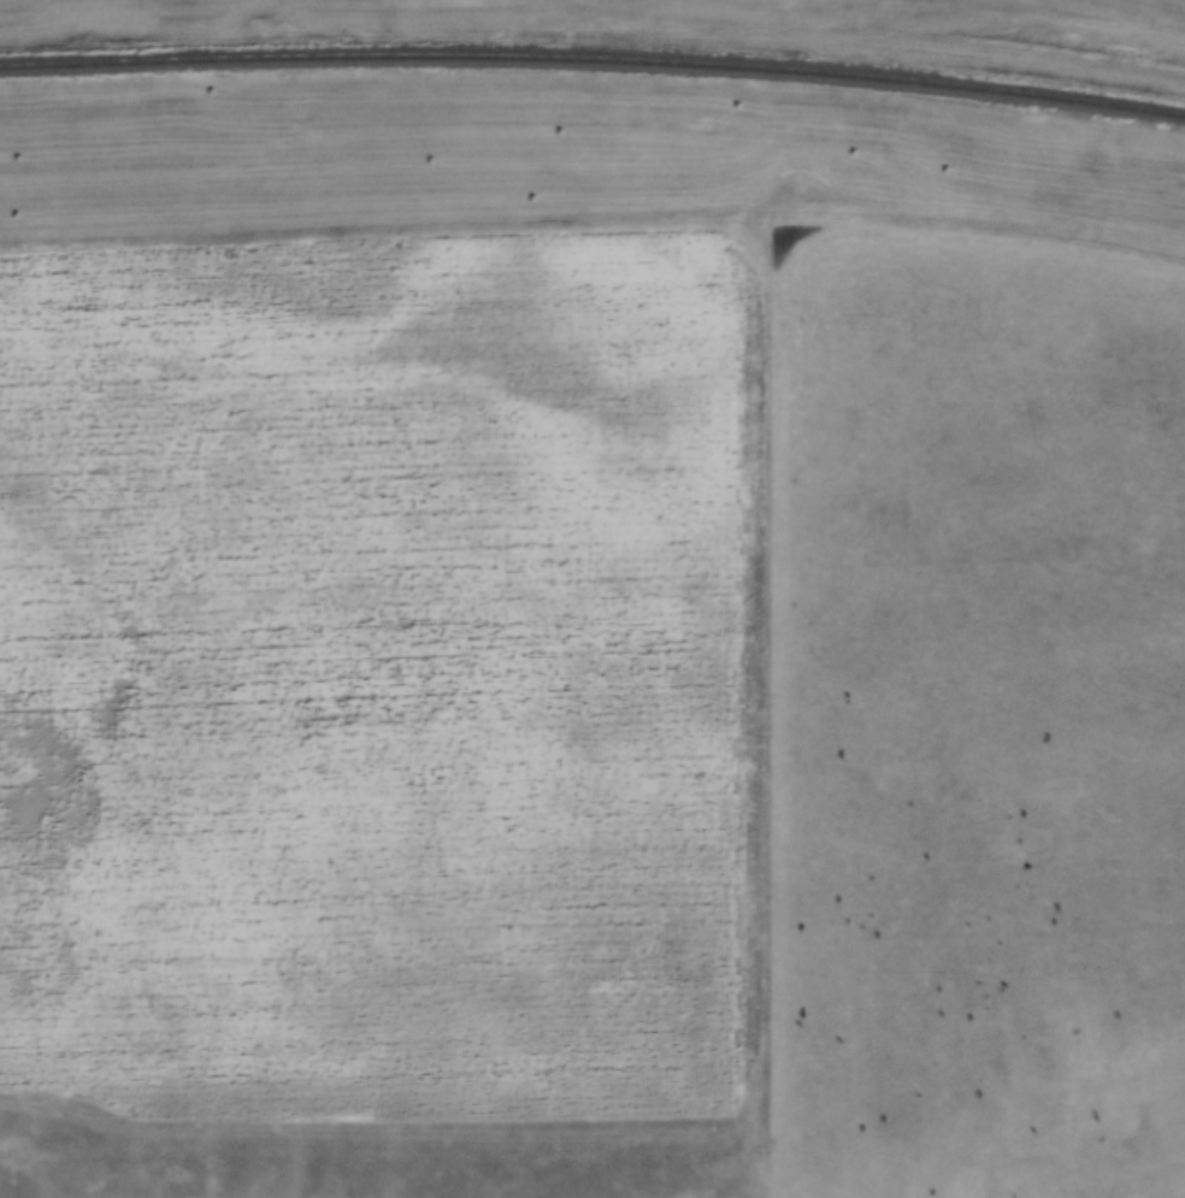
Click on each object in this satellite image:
railway: (592, 37)

